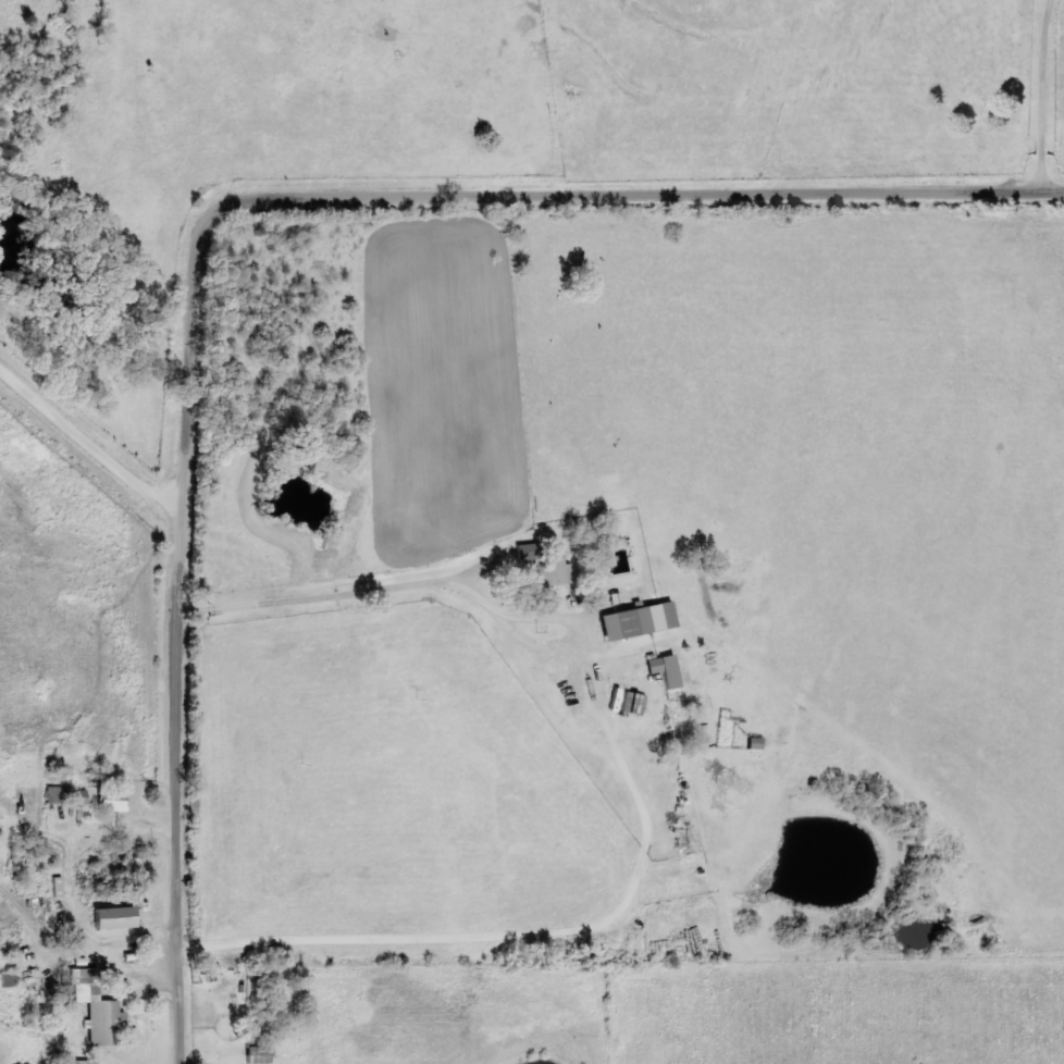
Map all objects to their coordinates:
road: (220, 218)
road: (95, 438)
building: (547, 567)
road: (442, 586)
building: (636, 622)
building: (668, 670)
building: (60, 795)
building: (82, 797)
building: (115, 801)
building: (120, 918)
building: (100, 1009)
building: (262, 1055)
building: (89, 1062)

